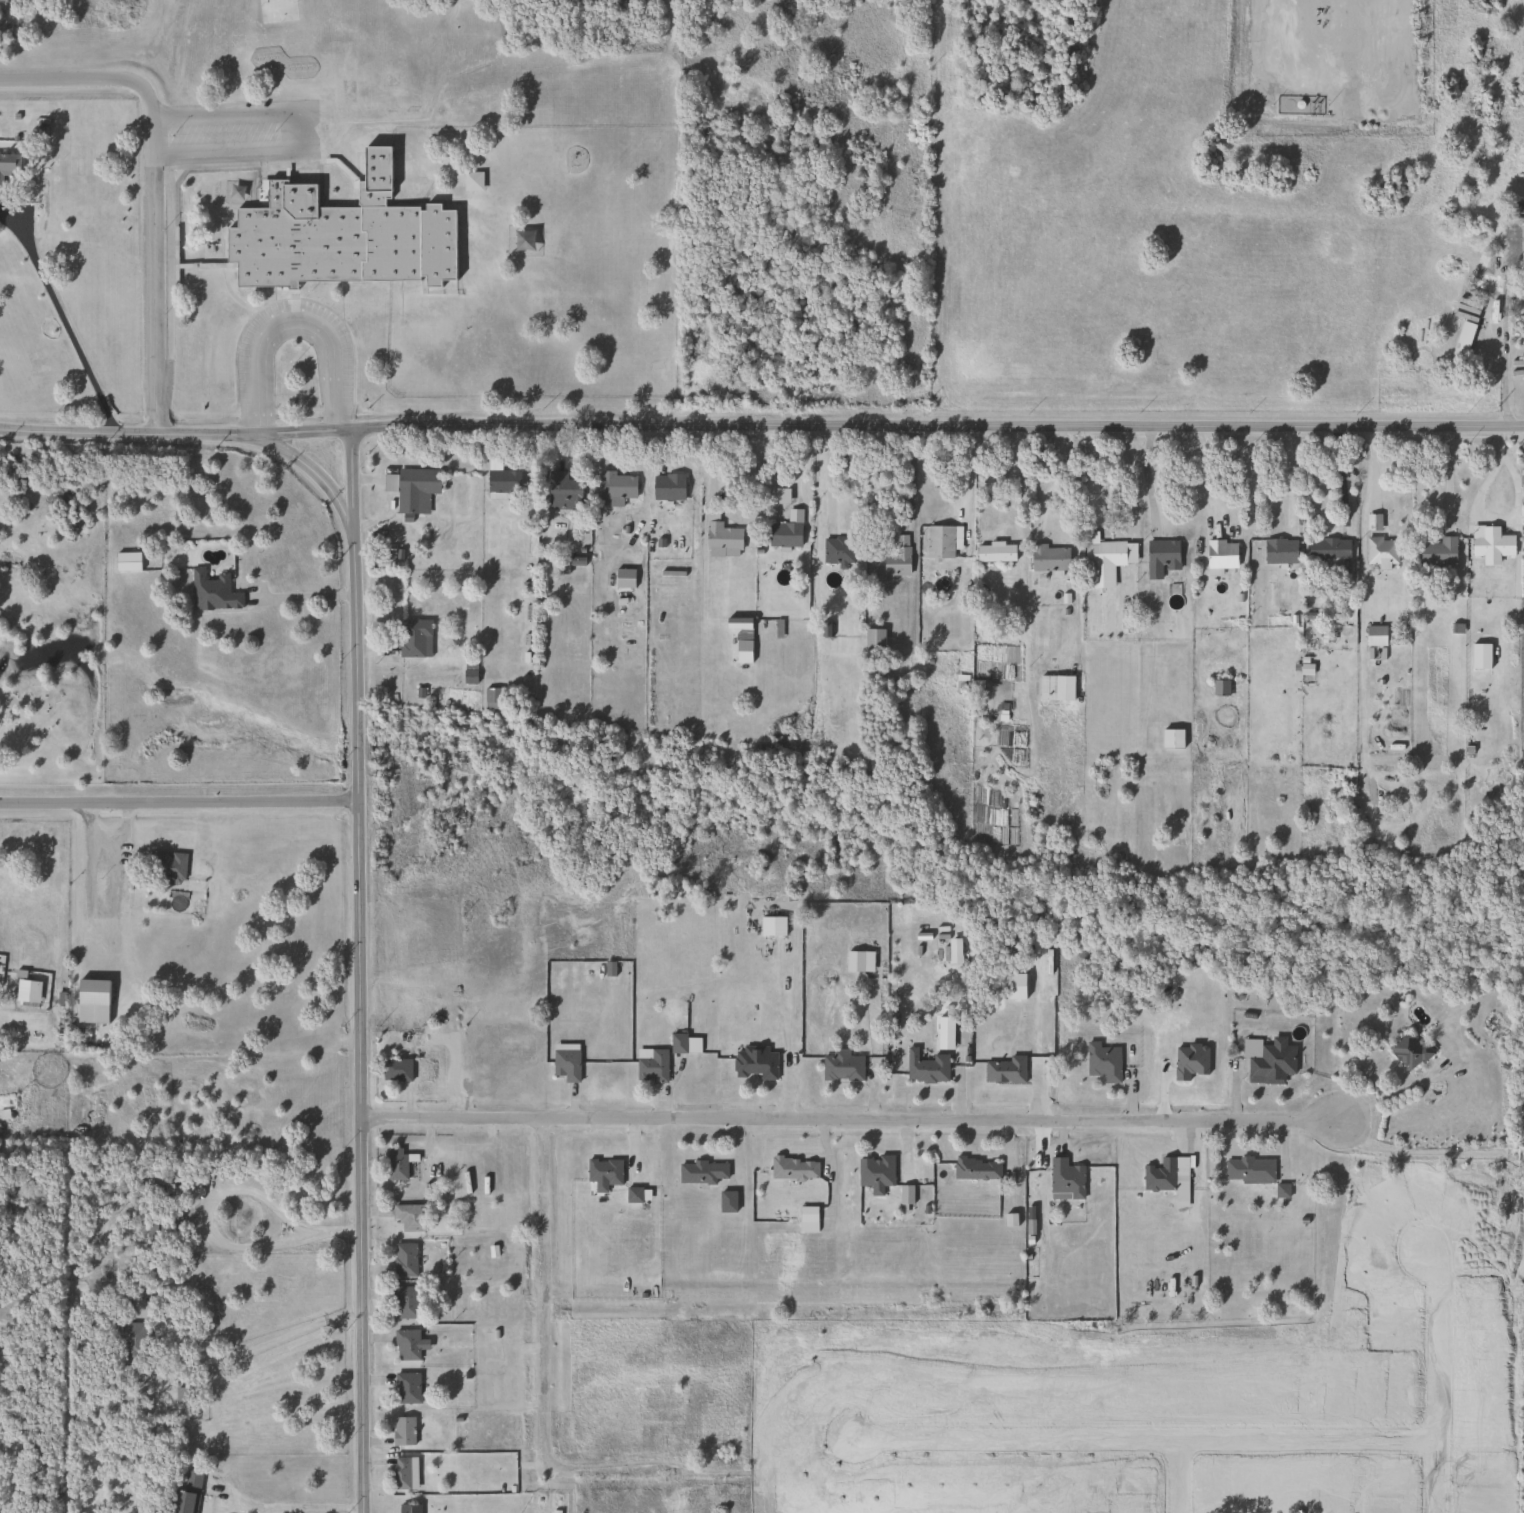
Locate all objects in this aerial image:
road: (332, 99)
road: (289, 126)
building: (1504, 130)
parking lot: (238, 132)
building: (9, 164)
building: (472, 181)
road: (356, 183)
road: (152, 186)
road: (173, 234)
building: (340, 235)
building: (522, 241)
building: (1518, 310)
road: (60, 317)
road: (292, 322)
road: (1503, 363)
parking lot: (253, 377)
road: (938, 427)
road: (176, 429)
road: (311, 470)
road: (828, 474)
road: (1339, 476)
road: (1092, 477)
road: (1287, 477)
road: (1146, 480)
road: (1204, 481)
building: (502, 482)
building: (667, 486)
building: (411, 488)
building: (615, 488)
building: (563, 491)
road: (1507, 514)
building: (783, 535)
building: (722, 540)
building: (940, 542)
road: (1074, 542)
building: (1491, 545)
building: (837, 550)
building: (1328, 550)
building: (1279, 551)
building: (994, 552)
building: (1380, 552)
building: (1438, 552)
building: (1109, 553)
building: (1220, 554)
building: (1048, 558)
building: (1160, 558)
building: (892, 559)
building: (127, 562)
building: (623, 579)
building: (212, 592)
road: (304, 596)
building: (742, 629)
building: (1375, 636)
building: (414, 639)
building: (873, 641)
building: (1055, 688)
building: (490, 698)
building: (1171, 739)
road: (180, 804)
building: (166, 866)
building: (771, 925)
building: (853, 961)
road: (361, 971)
building: (91, 992)
building: (676, 1043)
building: (1408, 1050)
building: (564, 1061)
building: (1101, 1061)
building: (1271, 1062)
building: (754, 1063)
building: (650, 1065)
building: (841, 1068)
building: (926, 1069)
building: (395, 1070)
building: (1004, 1070)
road: (1390, 1093)
road: (850, 1120)
building: (396, 1164)
building: (793, 1168)
building: (975, 1168)
building: (1247, 1169)
building: (603, 1171)
building: (874, 1171)
building: (701, 1172)
building: (1158, 1175)
building: (1065, 1178)
building: (161, 1185)
road: (223, 1187)
building: (726, 1201)
building: (408, 1216)
building: (404, 1259)
road: (796, 1297)
building: (405, 1301)
building: (129, 1335)
building: (406, 1344)
road: (217, 1355)
building: (406, 1388)
building: (180, 1403)
building: (402, 1430)
road: (632, 1467)
building: (399, 1473)
building: (187, 1492)
road: (278, 1508)
building: (407, 1508)

